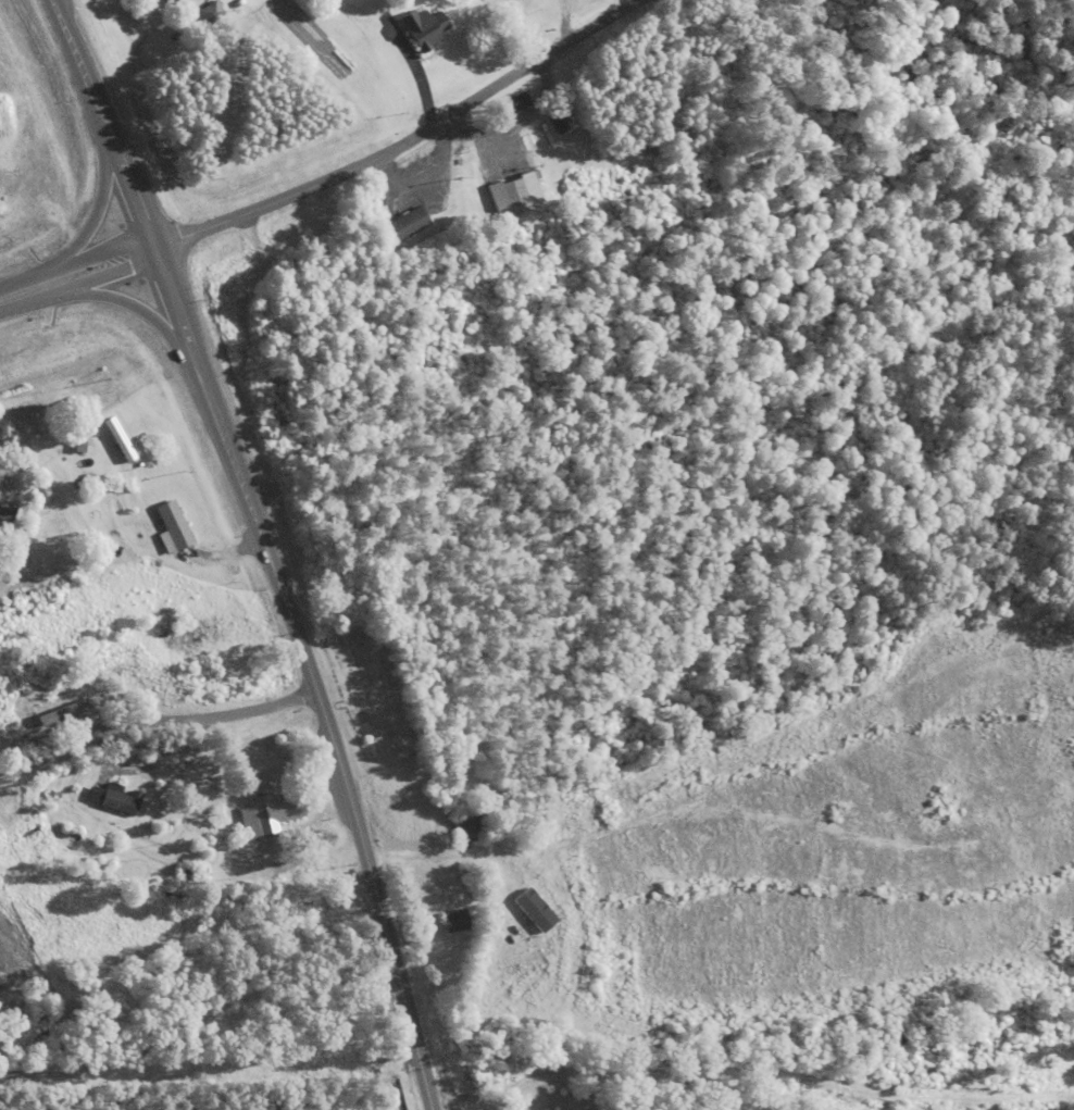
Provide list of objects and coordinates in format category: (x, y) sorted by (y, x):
building: (517, 5)
building: (187, 7)
building: (212, 15)
building: (426, 30)
building: (511, 108)
road: (407, 142)
road: (132, 197)
building: (516, 198)
road: (92, 215)
building: (409, 226)
road: (76, 273)
road: (140, 315)
building: (89, 446)
building: (8, 510)
building: (175, 528)
road: (155, 729)
road: (332, 749)
building: (116, 799)
building: (270, 815)
building: (470, 830)
building: (457, 922)

